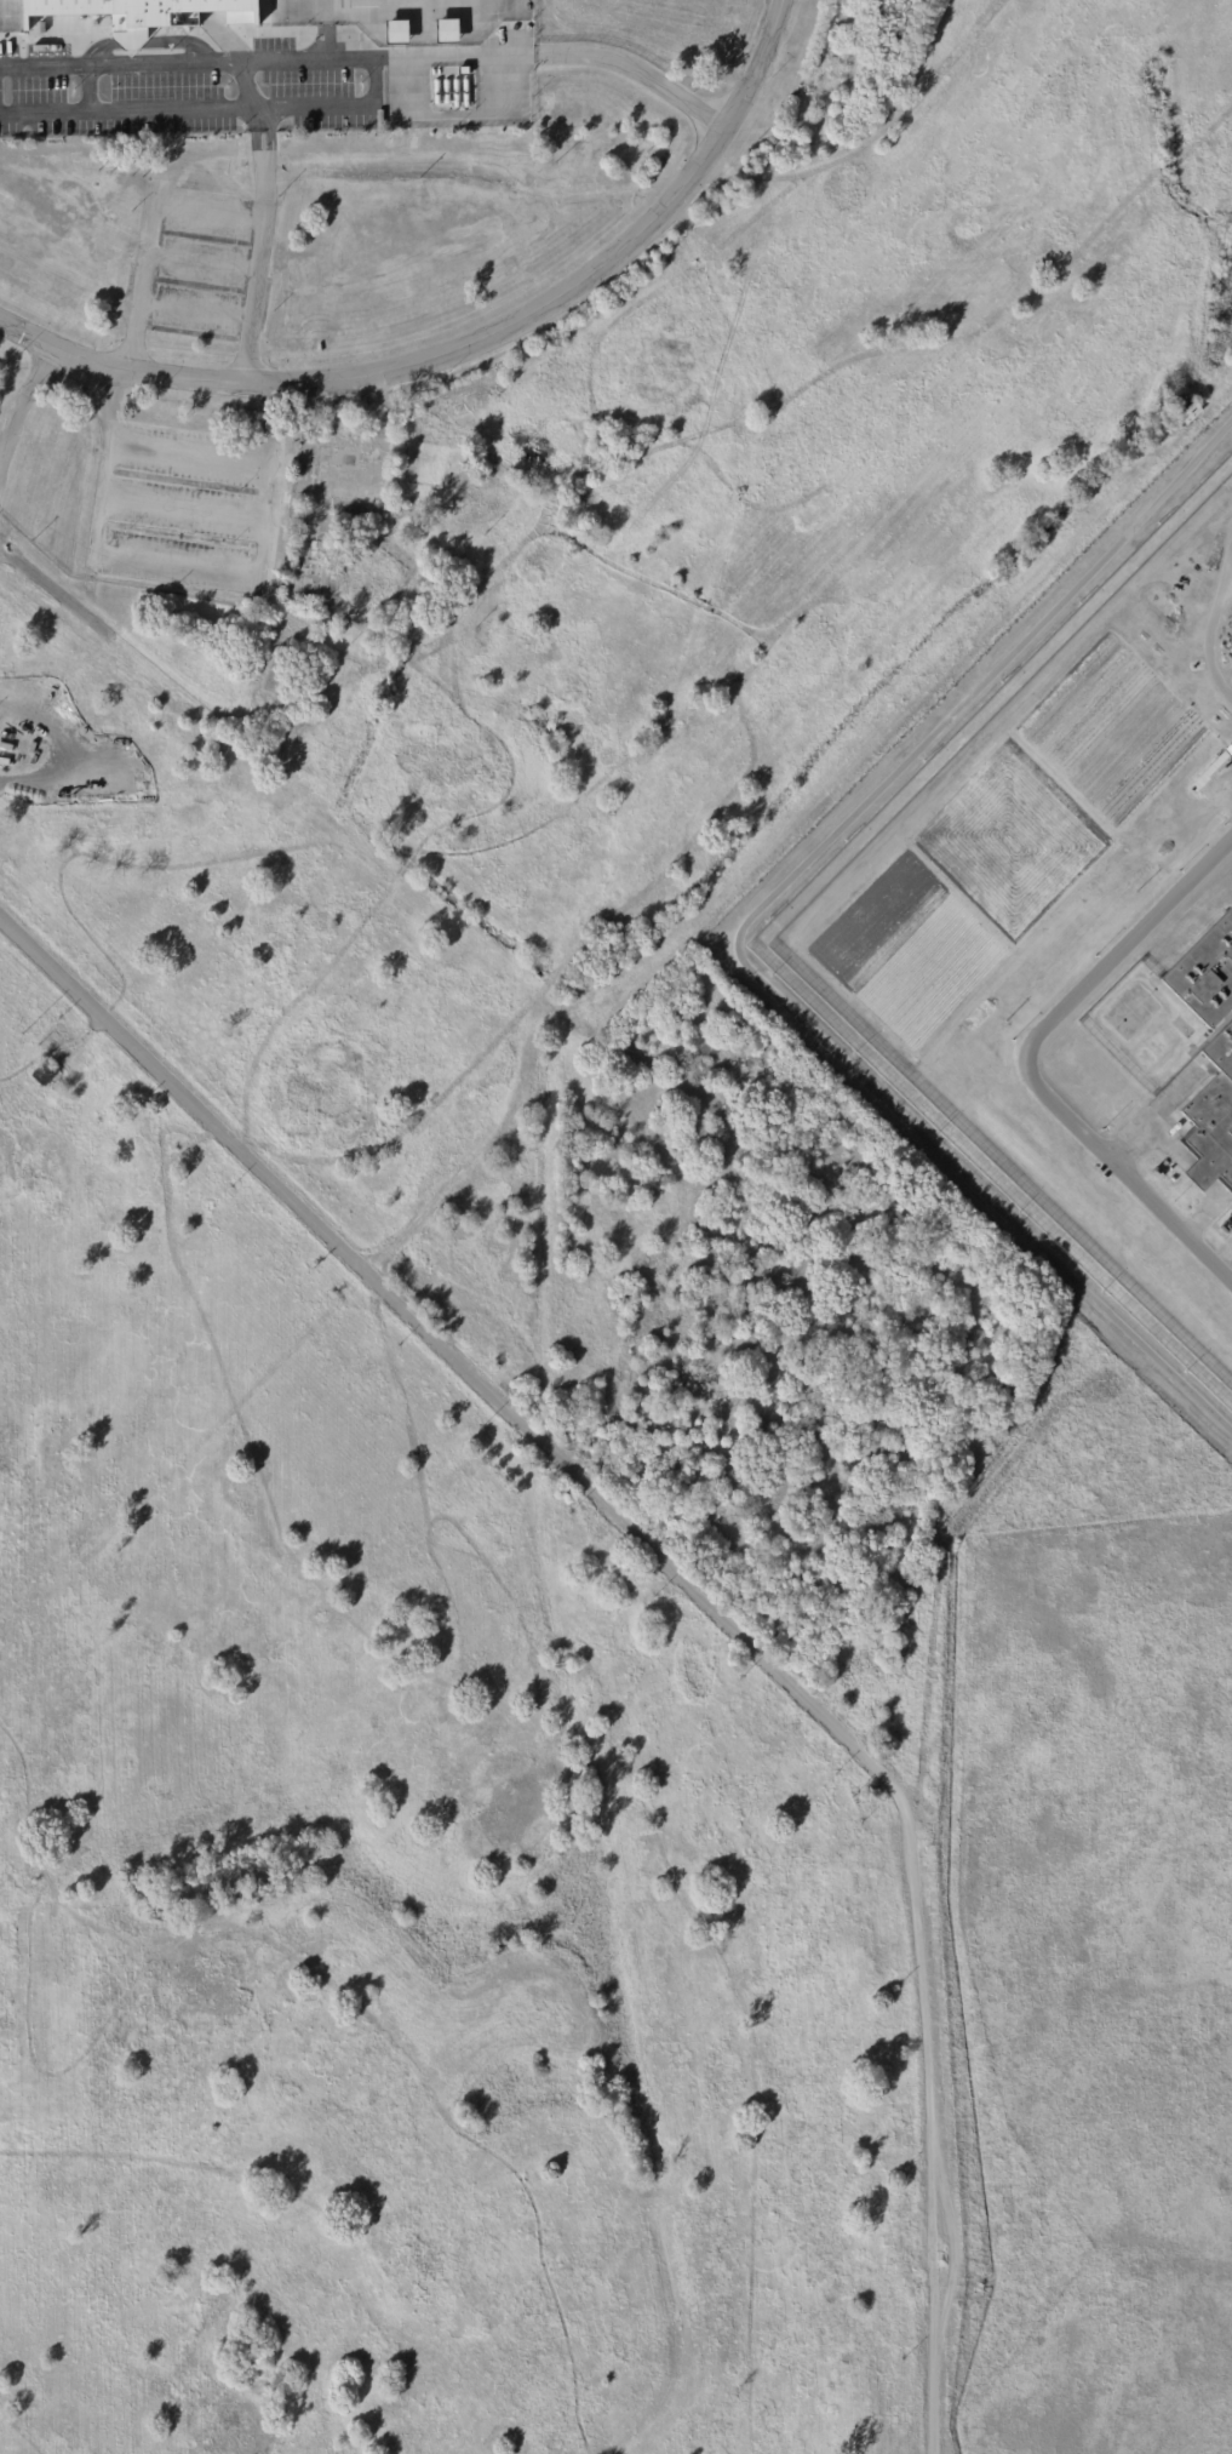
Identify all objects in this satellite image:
airport apron: (319, 12)
building: (141, 13)
airport apron: (8, 16)
building: (445, 32)
building: (394, 33)
road: (556, 57)
road: (120, 63)
road: (373, 71)
building: (462, 71)
road: (251, 85)
road: (130, 113)
road: (263, 245)
road: (150, 257)
road: (200, 309)
road: (465, 342)
road: (24, 396)
building: (1188, 412)
road: (194, 452)
road: (2, 467)
parking lot: (187, 507)
road: (187, 508)
road: (178, 566)
road: (1210, 624)
building: (1227, 745)
building: (1213, 772)
building: (293, 919)
road: (738, 932)
building: (1205, 973)
road: (1030, 1054)
building: (42, 1074)
building: (1213, 1117)
airport: (571, 1257)
road: (689, 1579)
building: (36, 1877)
building: (213, 2127)

